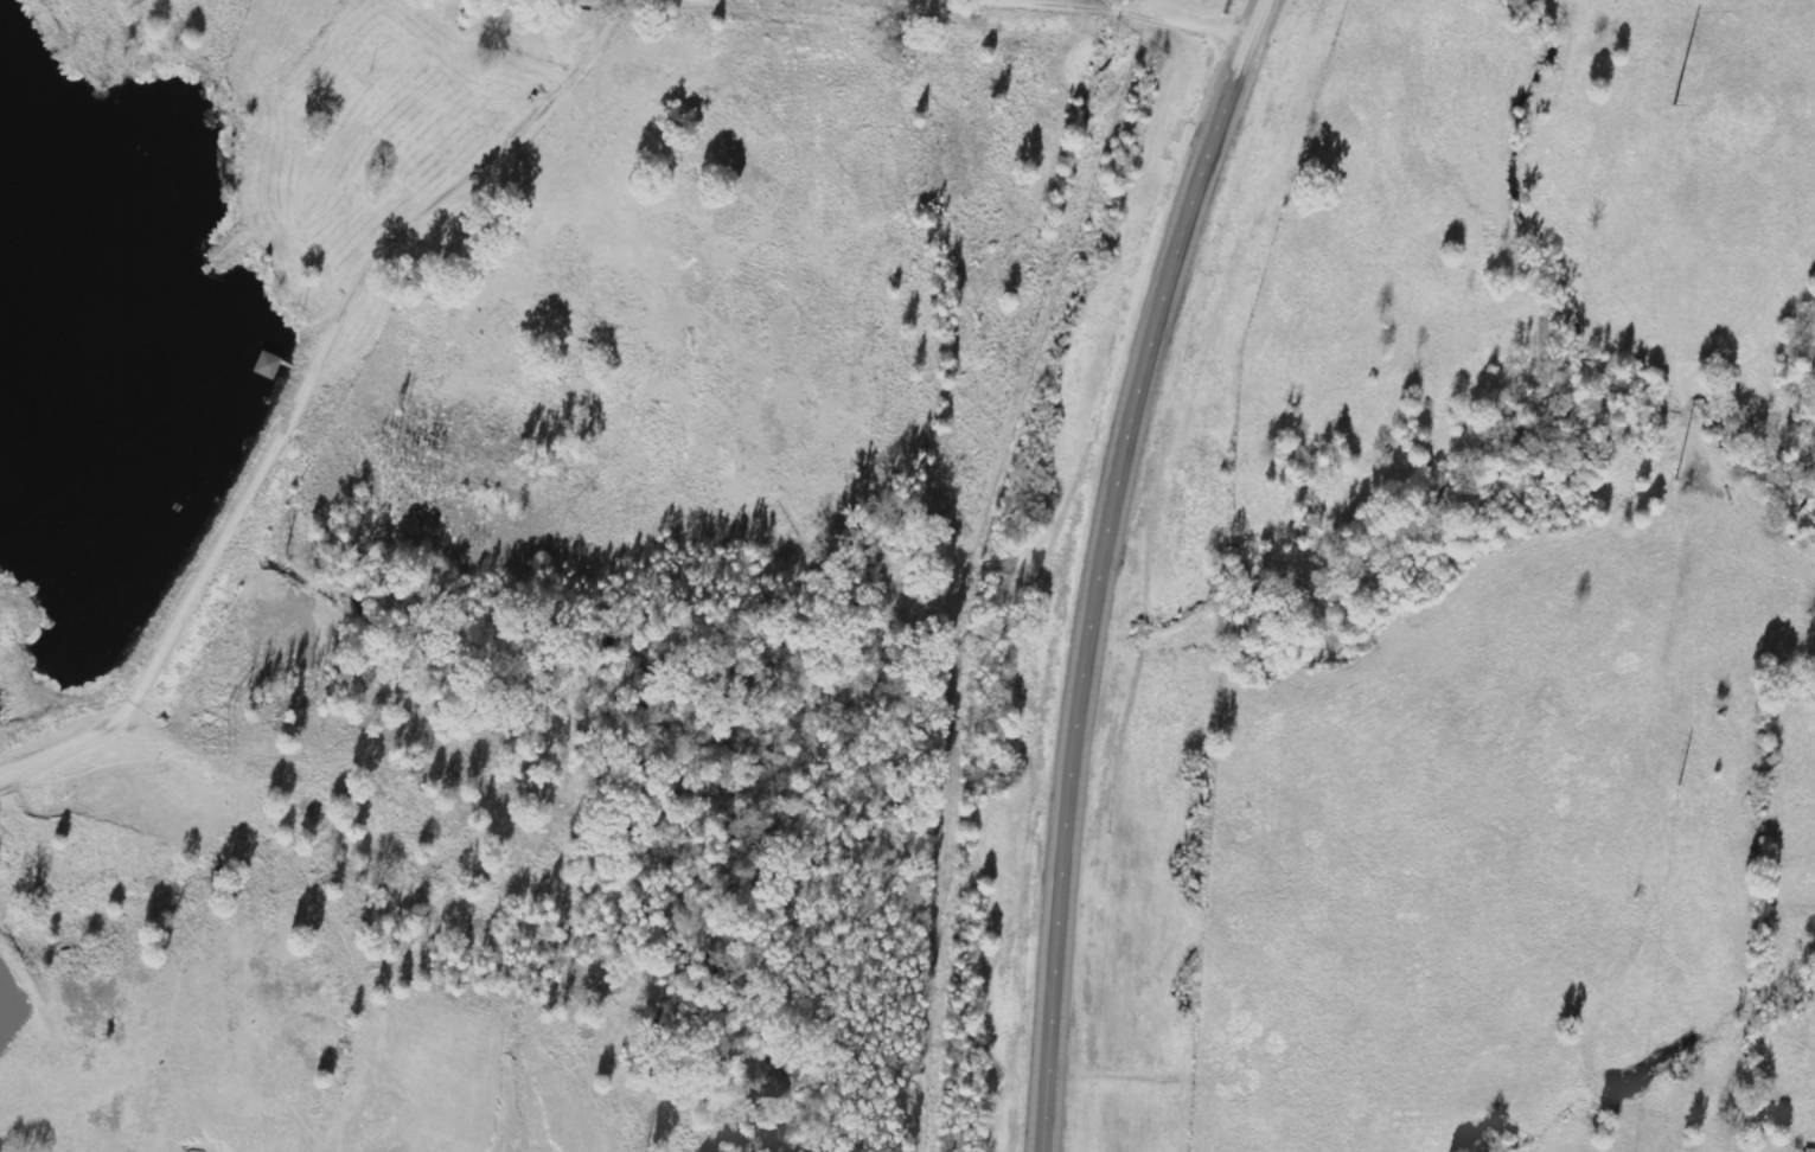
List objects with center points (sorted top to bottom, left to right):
road: (1097, 12)
power tower: (1666, 116)
building: (270, 365)
power tower: (1660, 468)
road: (1097, 564)
power tower: (1681, 773)

